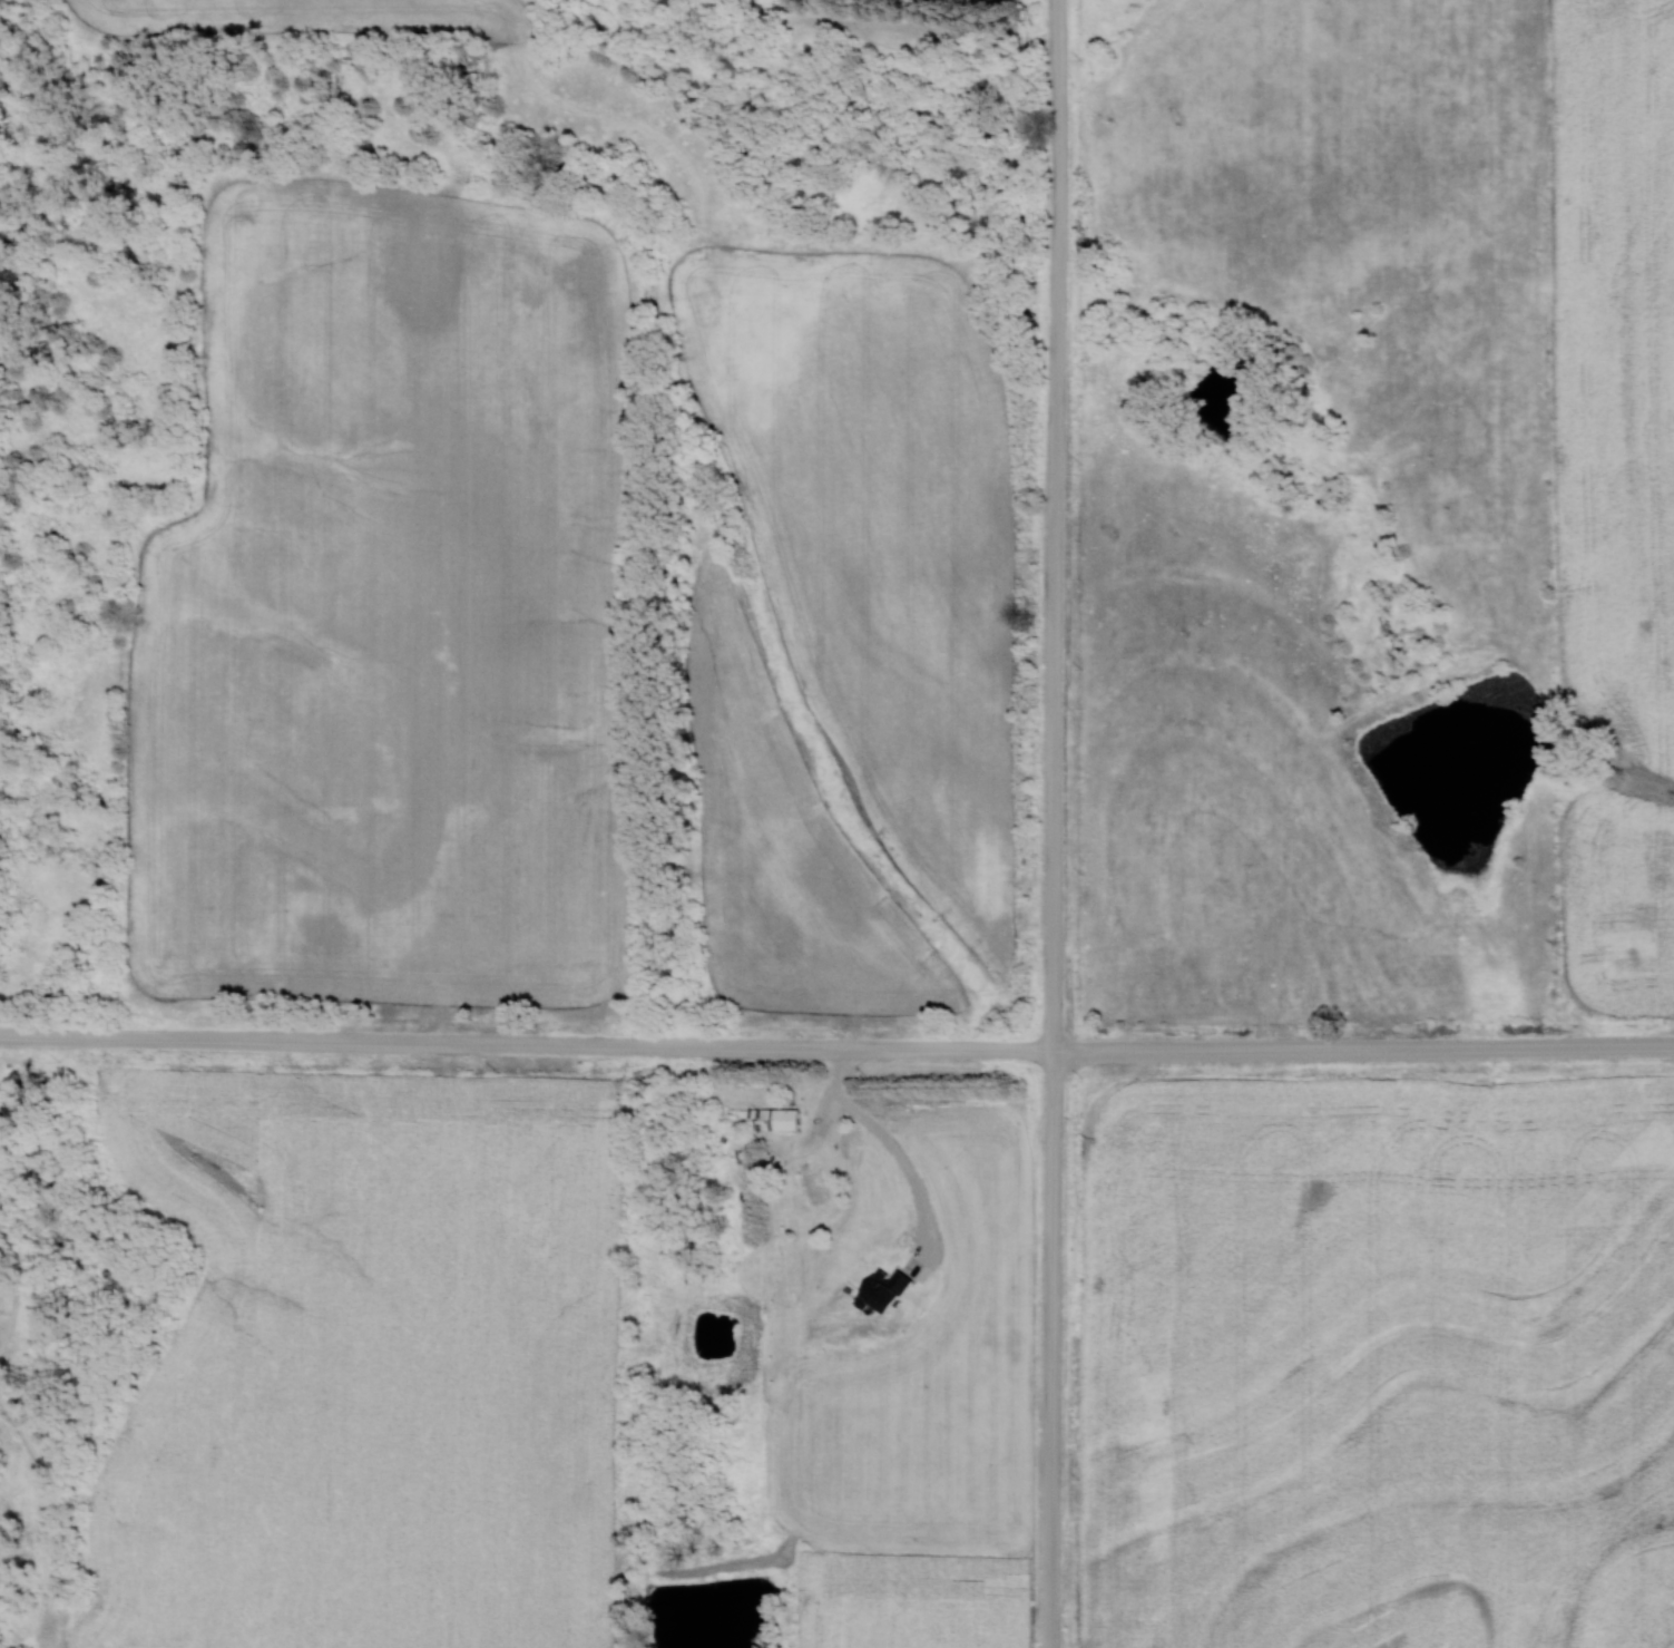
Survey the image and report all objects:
road: (888, 32)
road: (1047, 823)
road: (522, 1050)
road: (1360, 1051)
building: (774, 1119)
building: (811, 1181)

